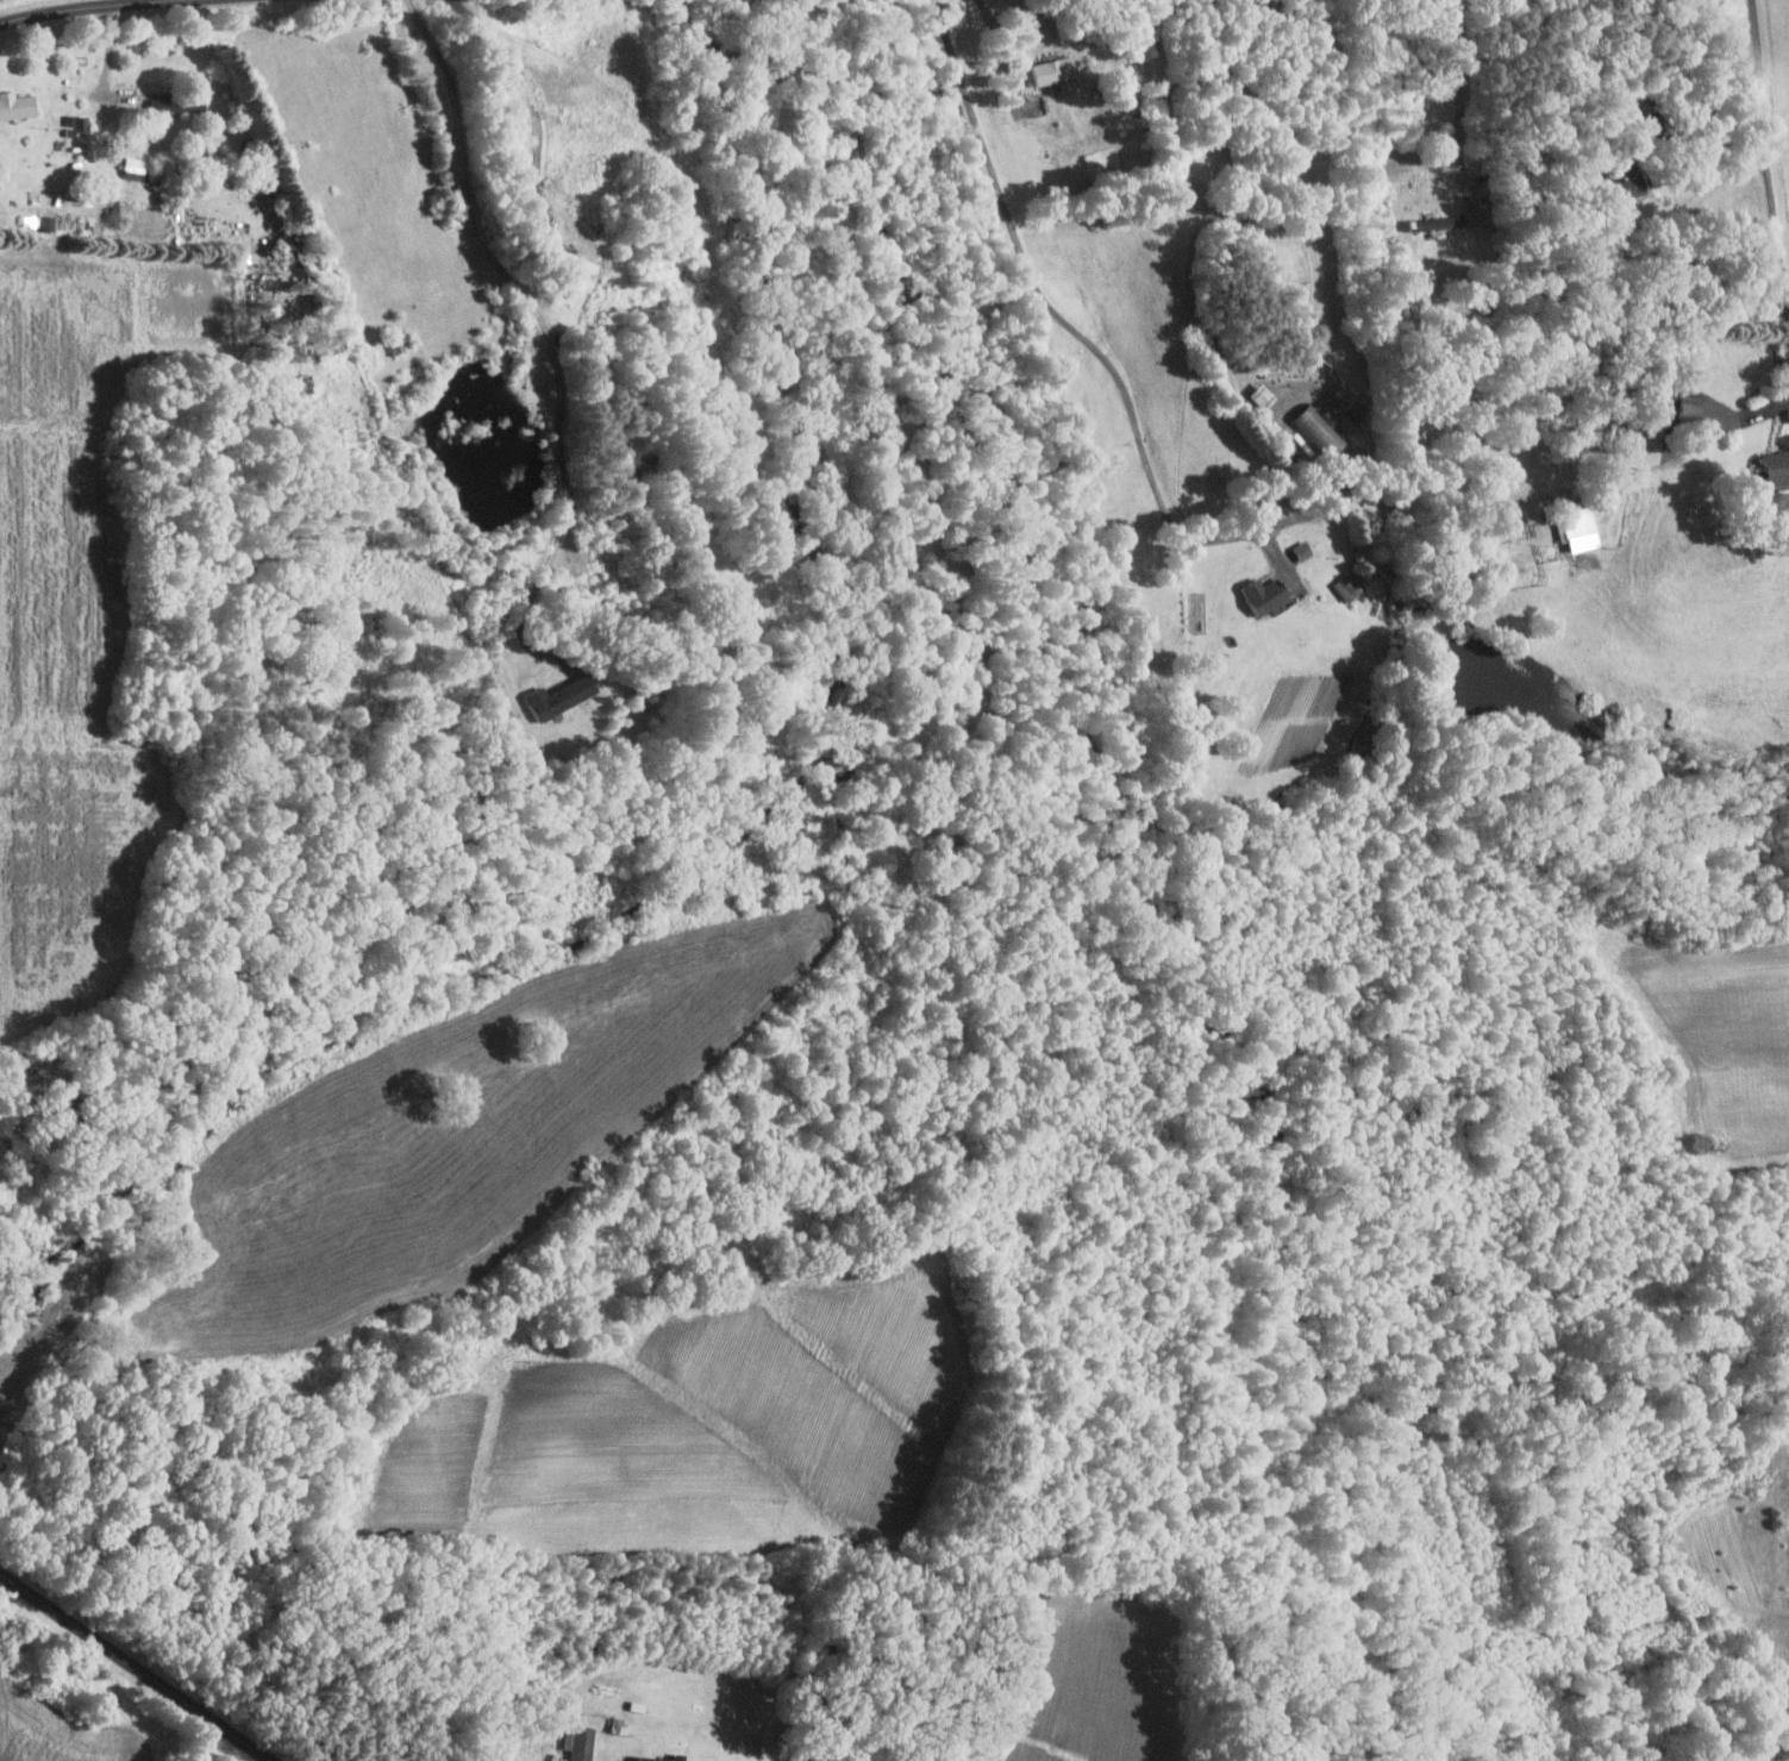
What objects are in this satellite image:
road: (75, 8)
road: (988, 10)
road: (997, 36)
building: (1055, 69)
road: (251, 75)
road: (528, 87)
road: (1462, 94)
building: (173, 102)
building: (17, 105)
road: (1710, 106)
building: (88, 121)
road: (1770, 150)
building: (135, 167)
building: (1469, 217)
building: (49, 223)
building: (1426, 223)
road: (546, 330)
building: (301, 383)
road: (1131, 405)
building: (1693, 409)
road: (1733, 424)
building: (1321, 431)
building: (1778, 468)
building: (1580, 525)
building: (1350, 585)
building: (1266, 594)
building: (563, 696)
road: (137, 1666)
road: (165, 1722)
building: (580, 1741)
building: (650, 1757)

